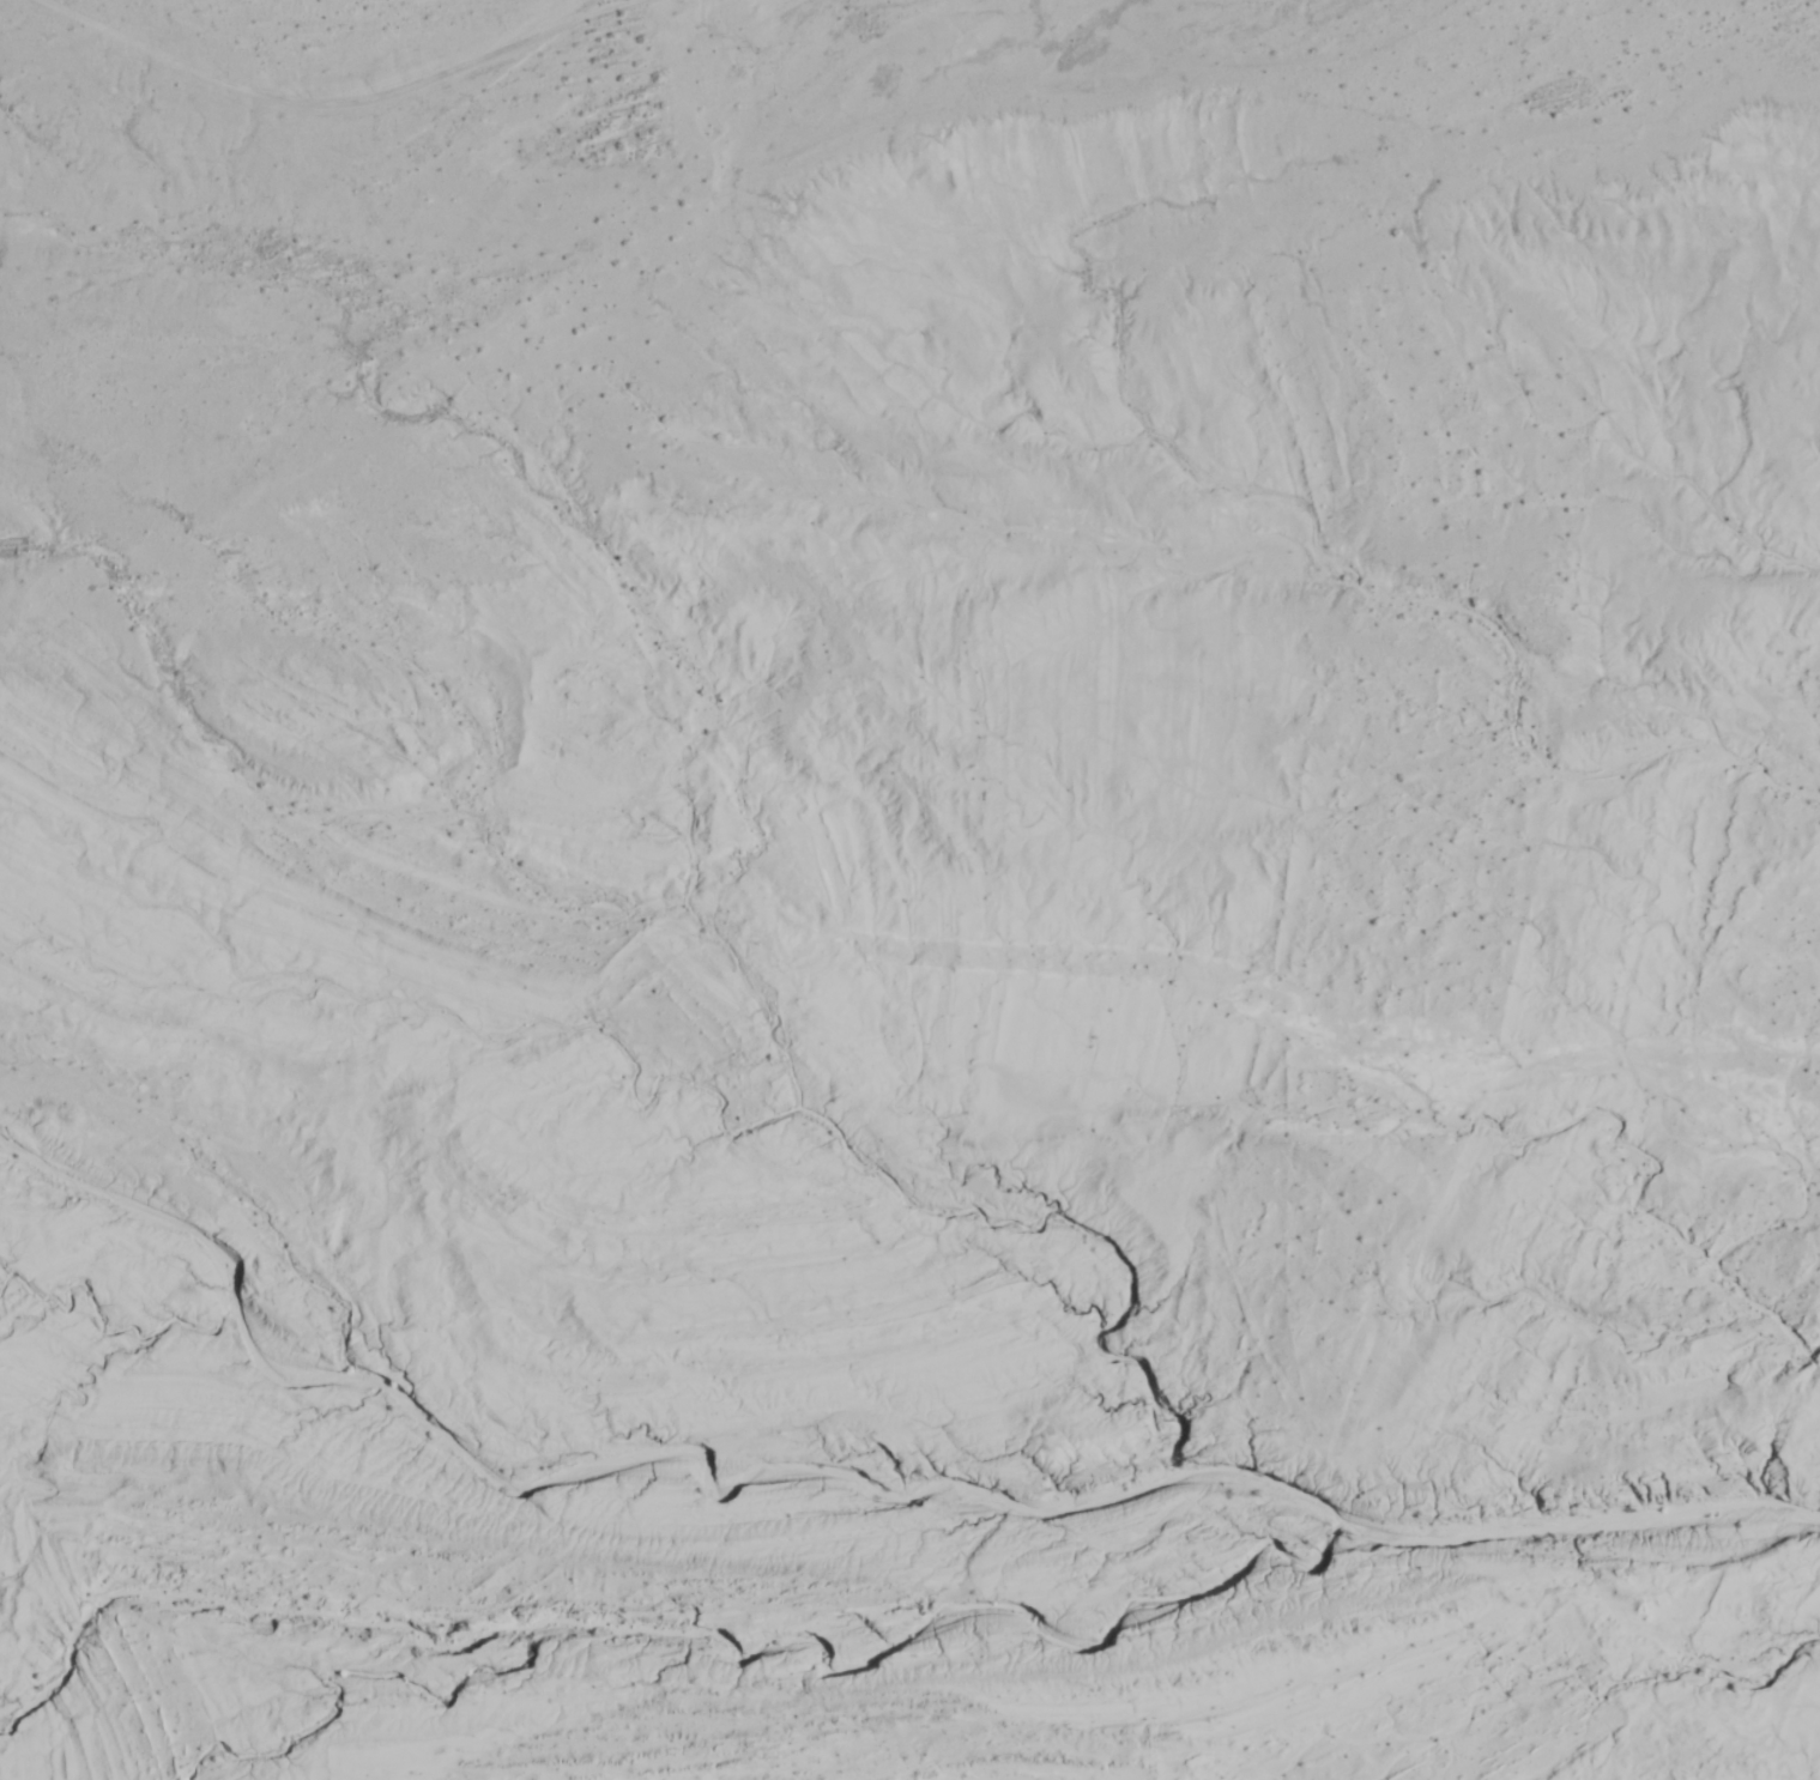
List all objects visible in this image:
road: (343, 99)

